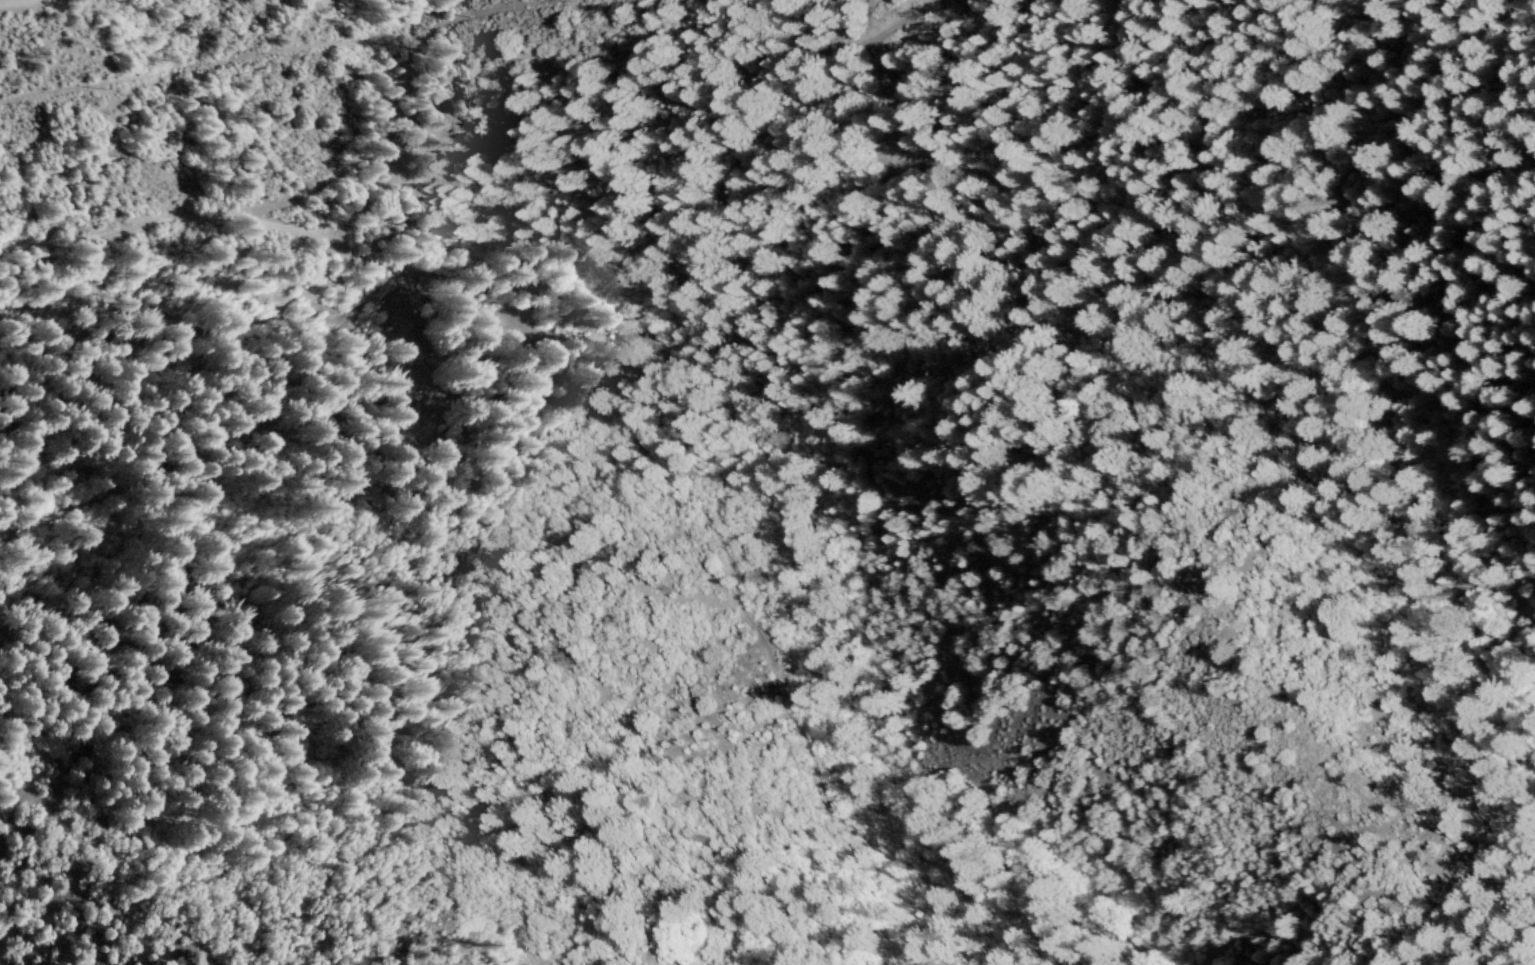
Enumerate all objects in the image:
road: (11, 2)
road: (393, 86)
road: (200, 217)

